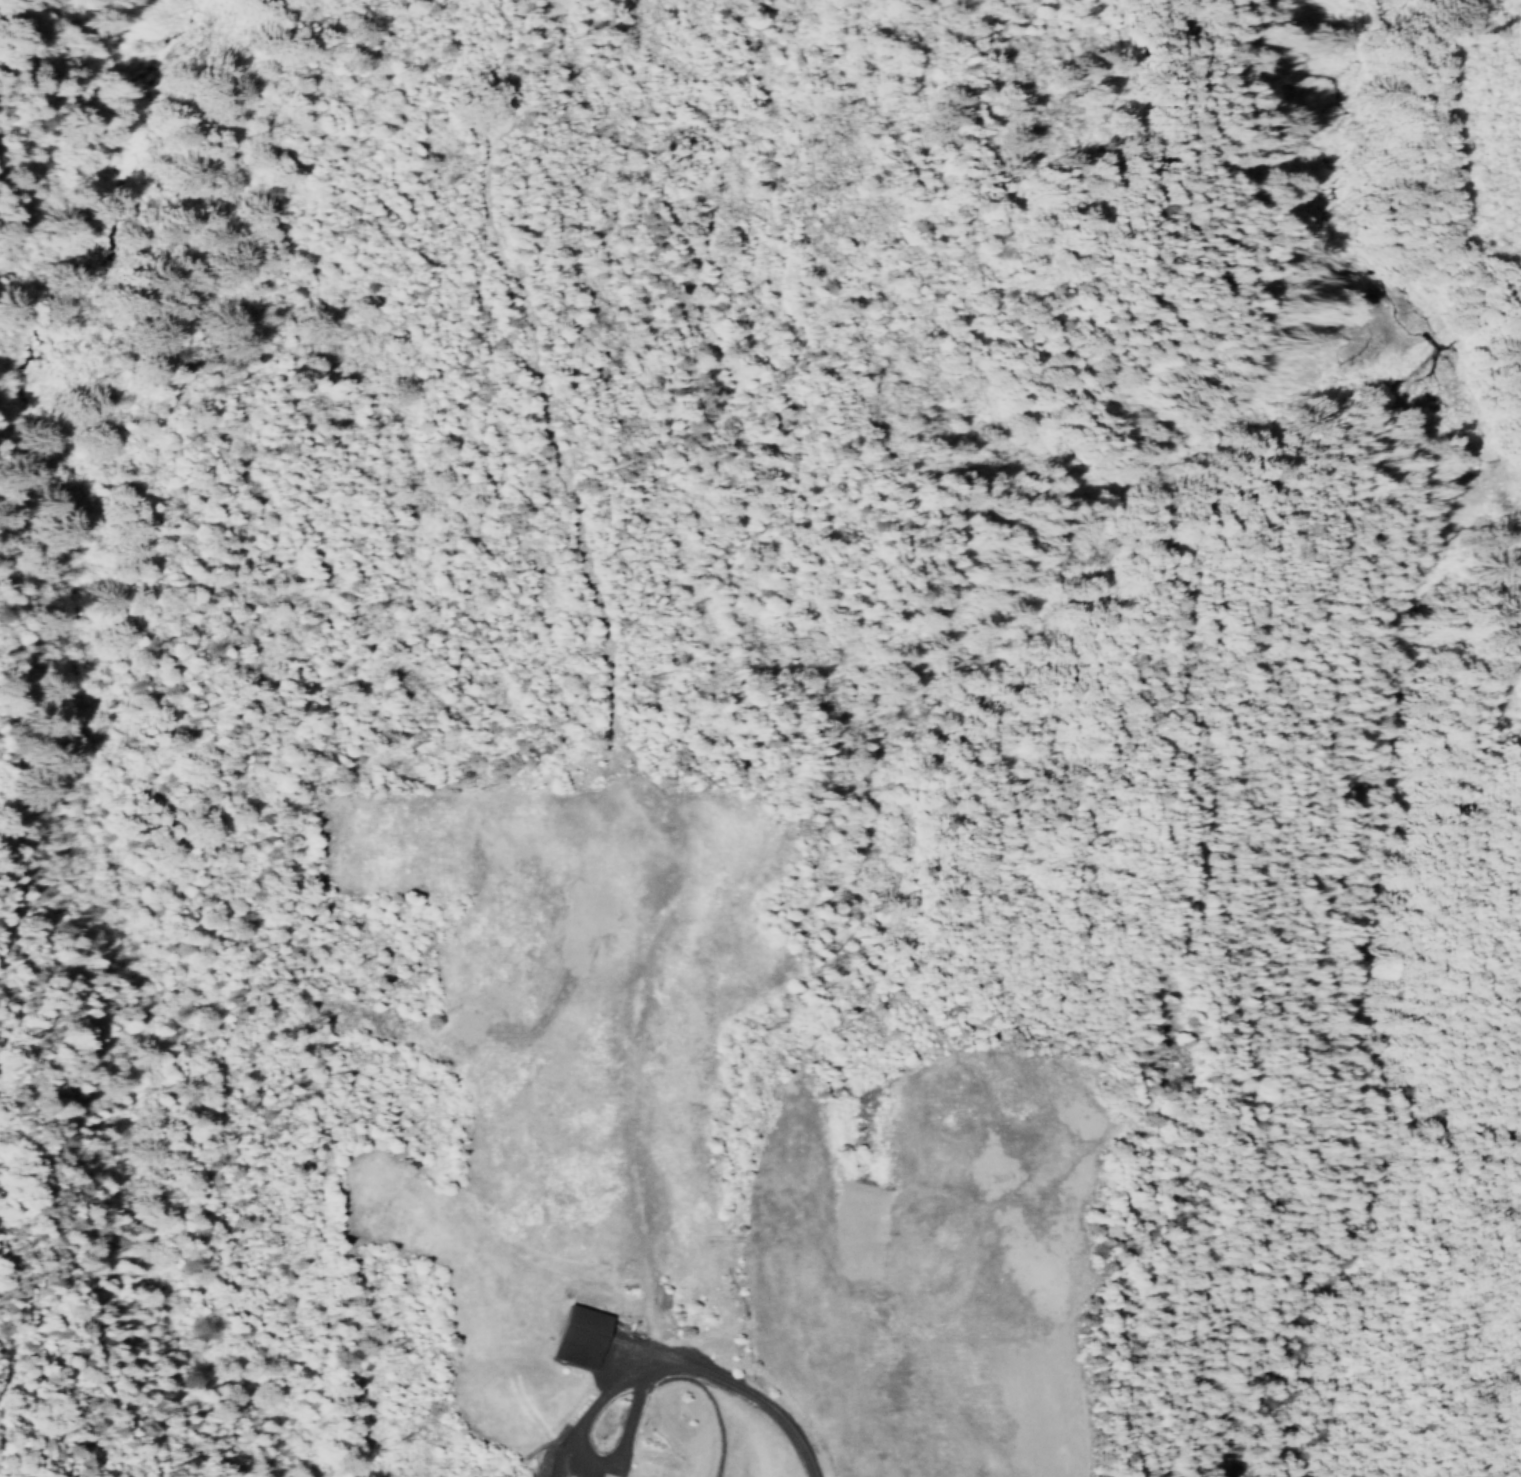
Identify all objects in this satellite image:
building: (572, 1336)
road: (752, 1391)
road: (586, 1453)
building: (640, 1475)
building: (601, 1476)

